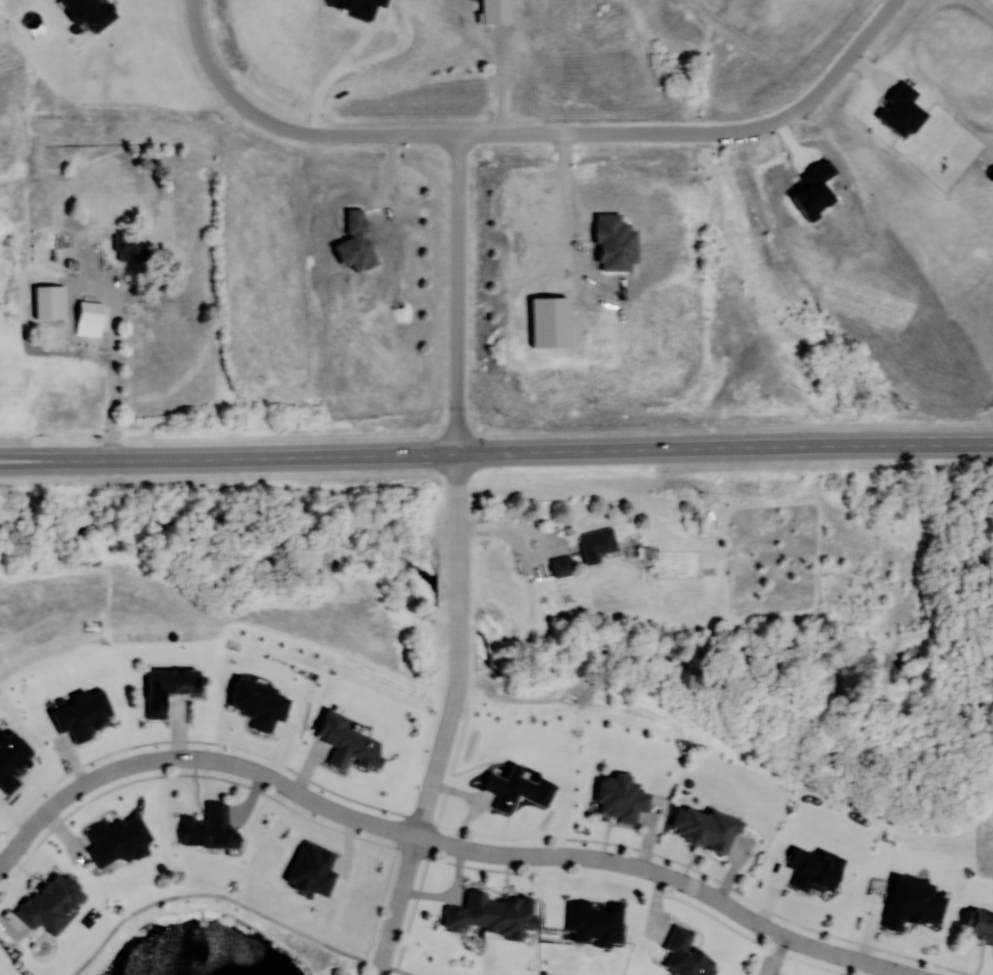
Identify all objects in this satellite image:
road: (367, 36)
road: (203, 54)
road: (589, 134)
building: (129, 250)
road: (458, 294)
building: (90, 313)
road: (114, 373)
road: (496, 453)
road: (457, 528)
building: (596, 543)
building: (562, 565)
road: (457, 629)
road: (443, 746)
building: (208, 828)
road: (437, 842)
road: (219, 895)
road: (397, 906)
road: (412, 907)
building: (491, 914)
building: (980, 925)
road: (749, 940)
road: (395, 970)
road: (957, 971)

